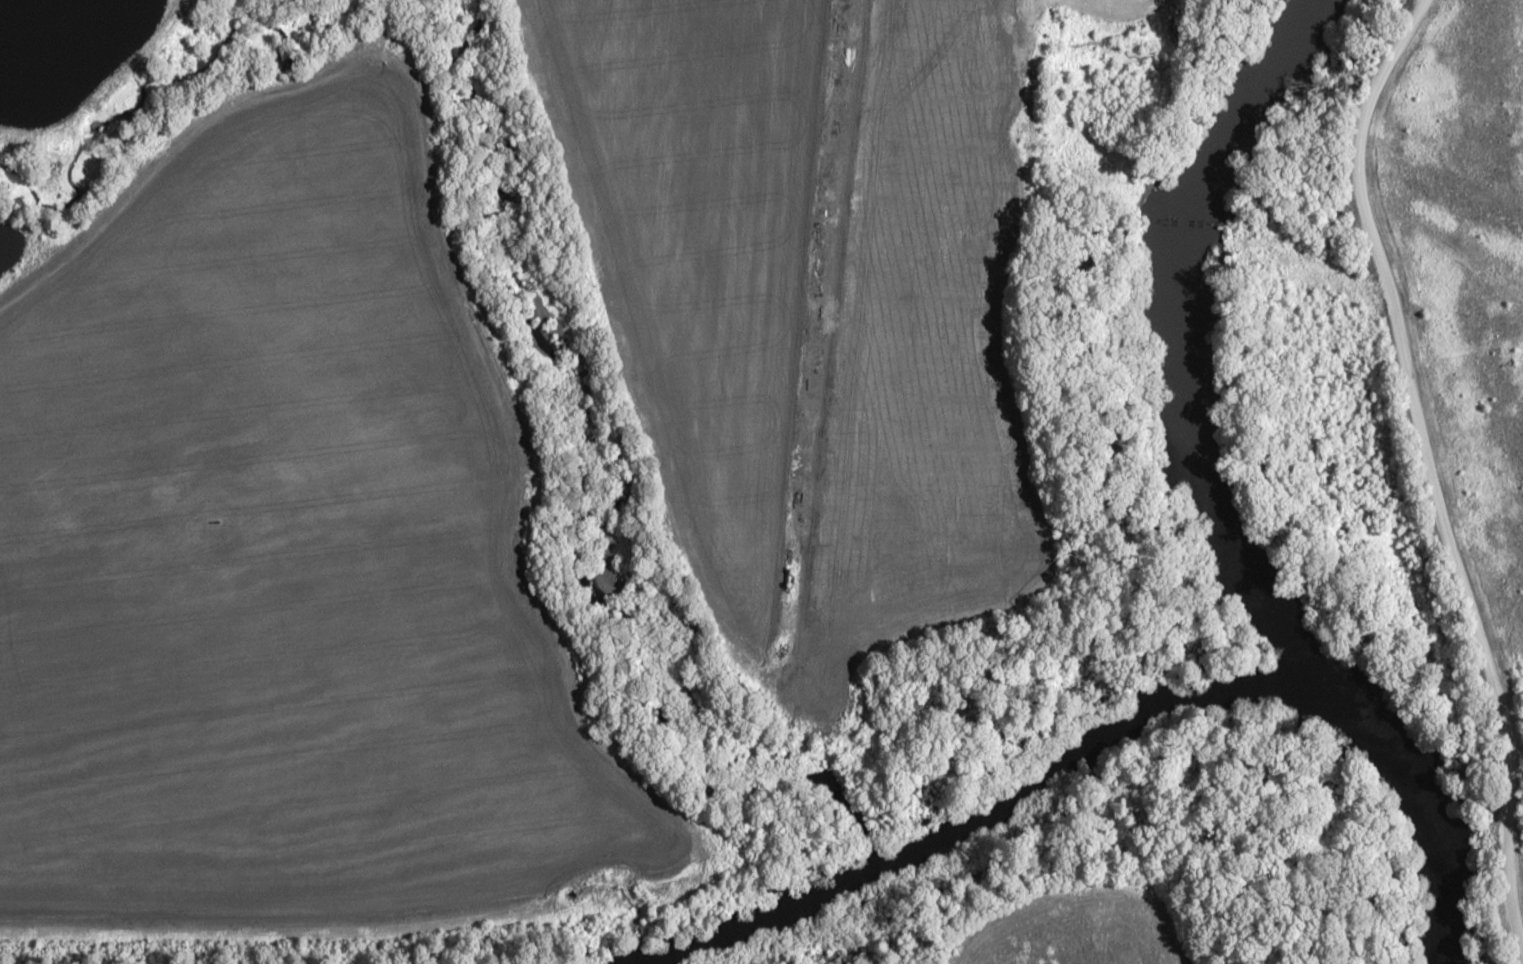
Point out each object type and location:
road: (1425, 476)
river: (1210, 502)

